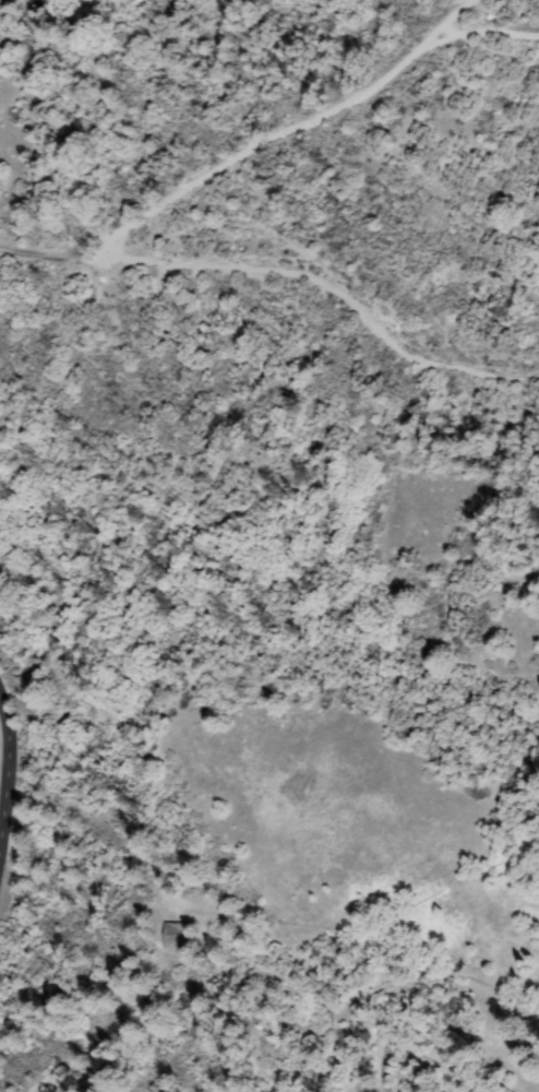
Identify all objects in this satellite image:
road: (2, 757)
building: (181, 936)
road: (420, 969)
road: (160, 1006)

